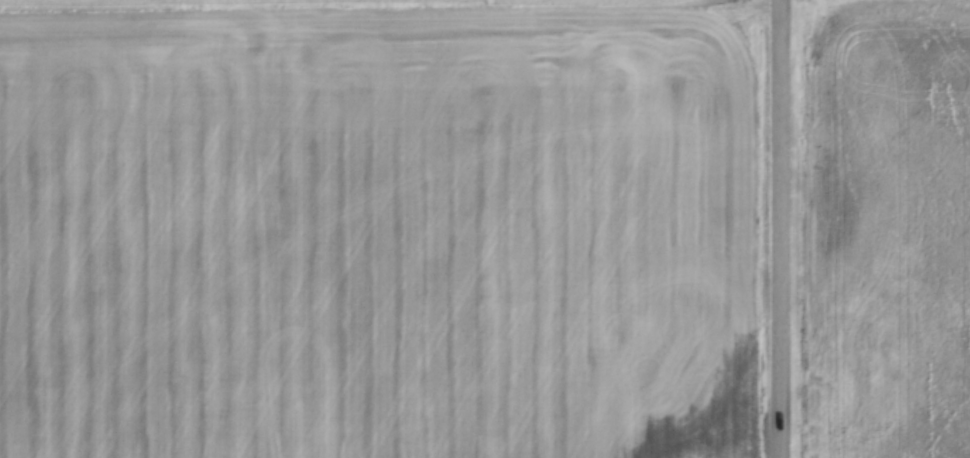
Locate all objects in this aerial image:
road: (777, 229)

